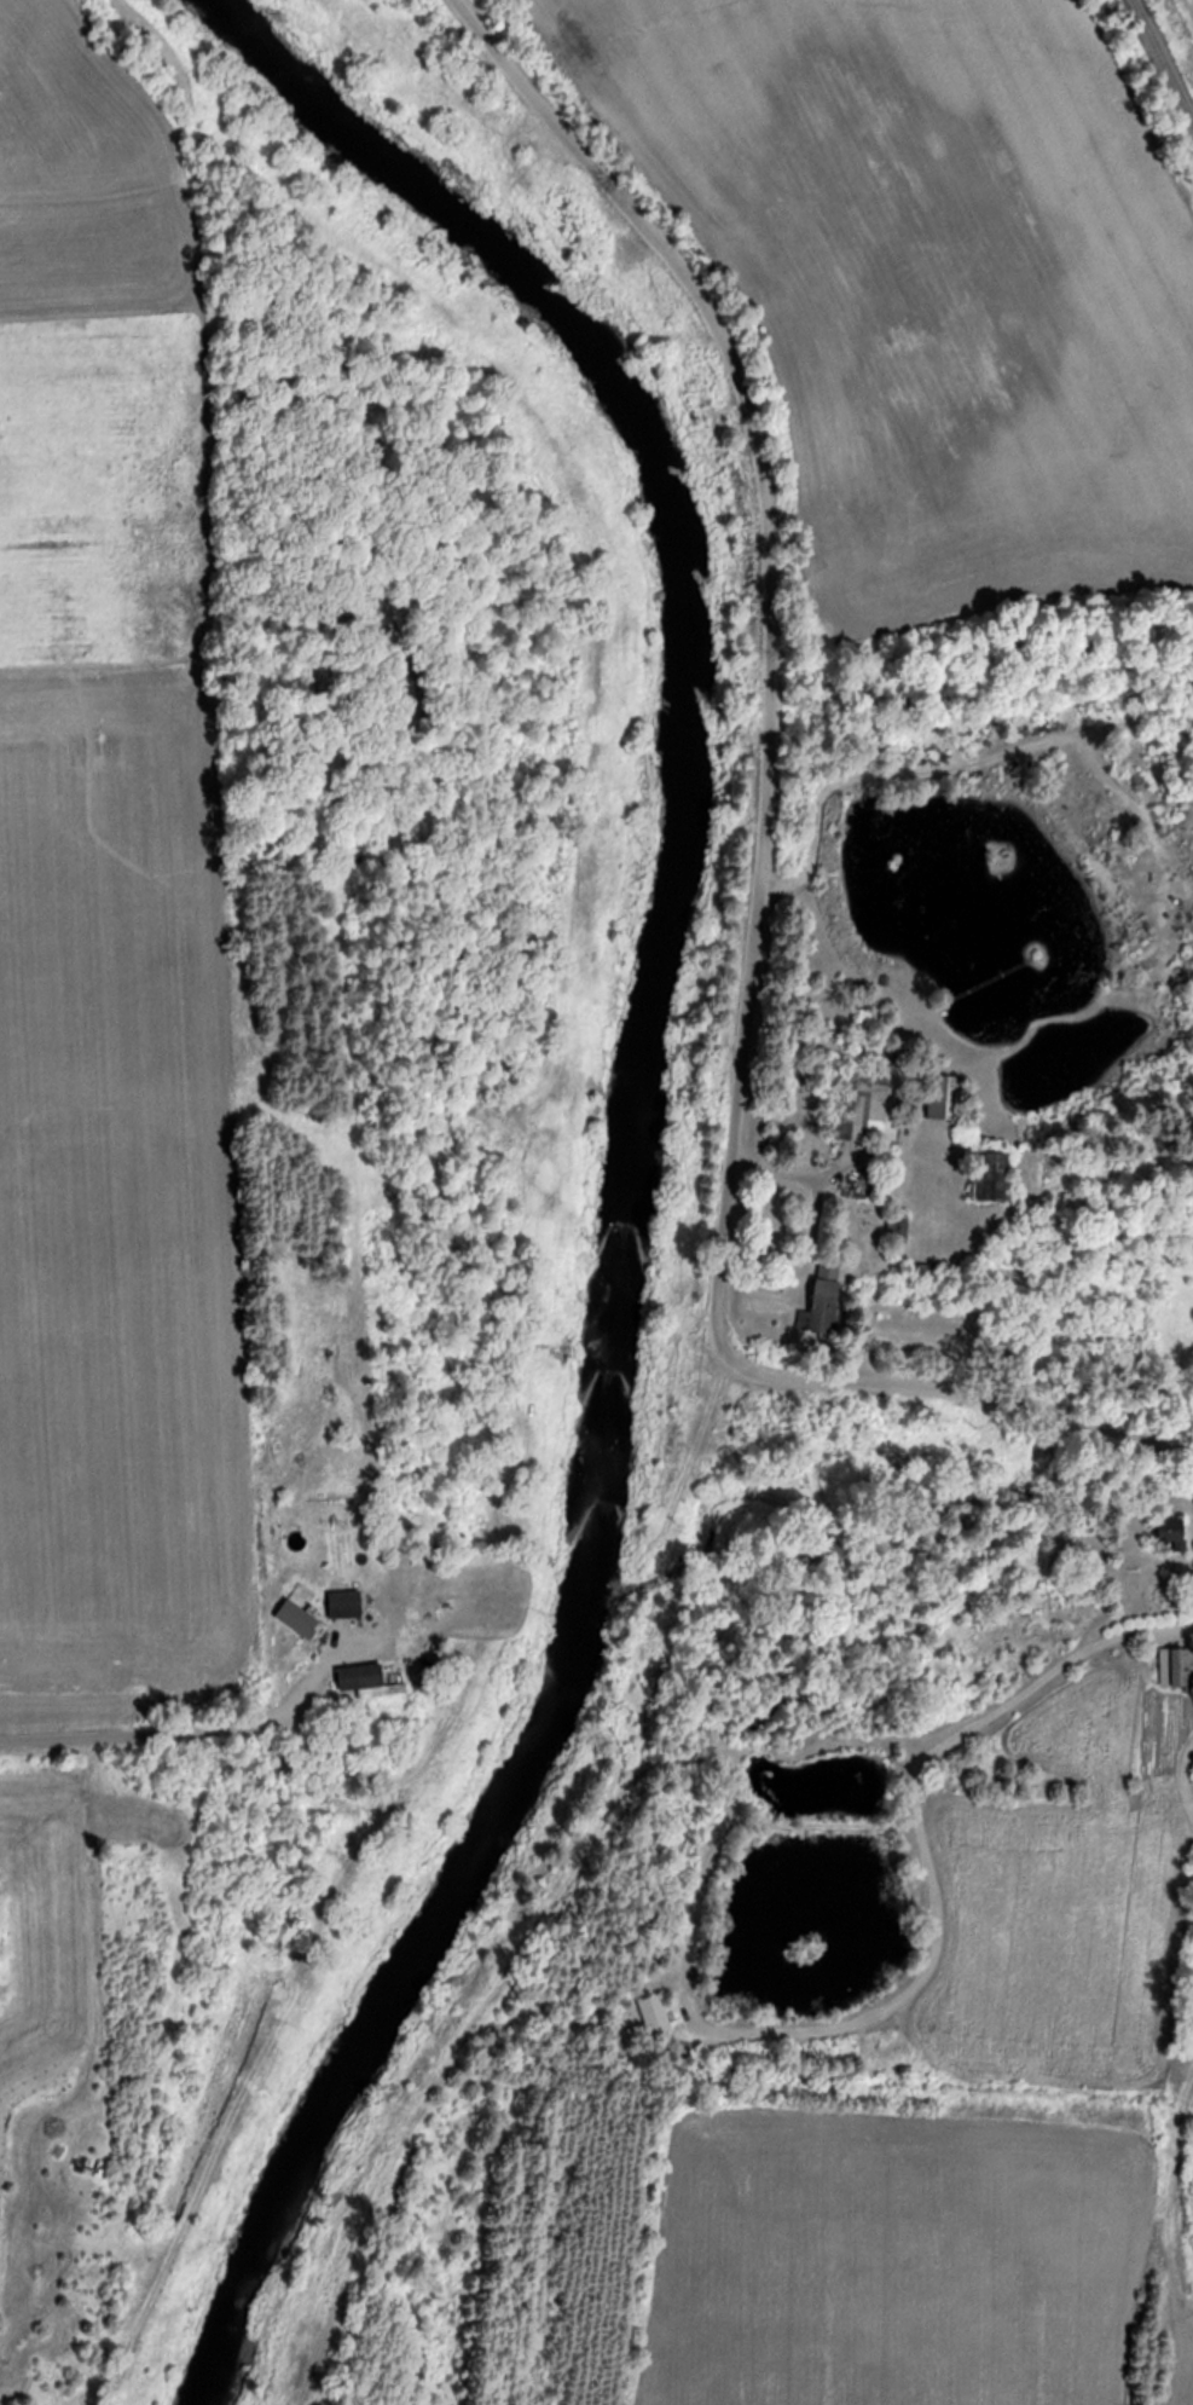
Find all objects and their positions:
railway: (1169, 47)
road: (752, 879)
building: (946, 1099)
building: (870, 1108)
river: (625, 1155)
building: (994, 1179)
building: (823, 1302)
building: (1172, 1534)
building: (346, 1606)
building: (300, 1619)
building: (1176, 1669)
building: (360, 1678)
road: (137, 1734)
building: (656, 2016)

